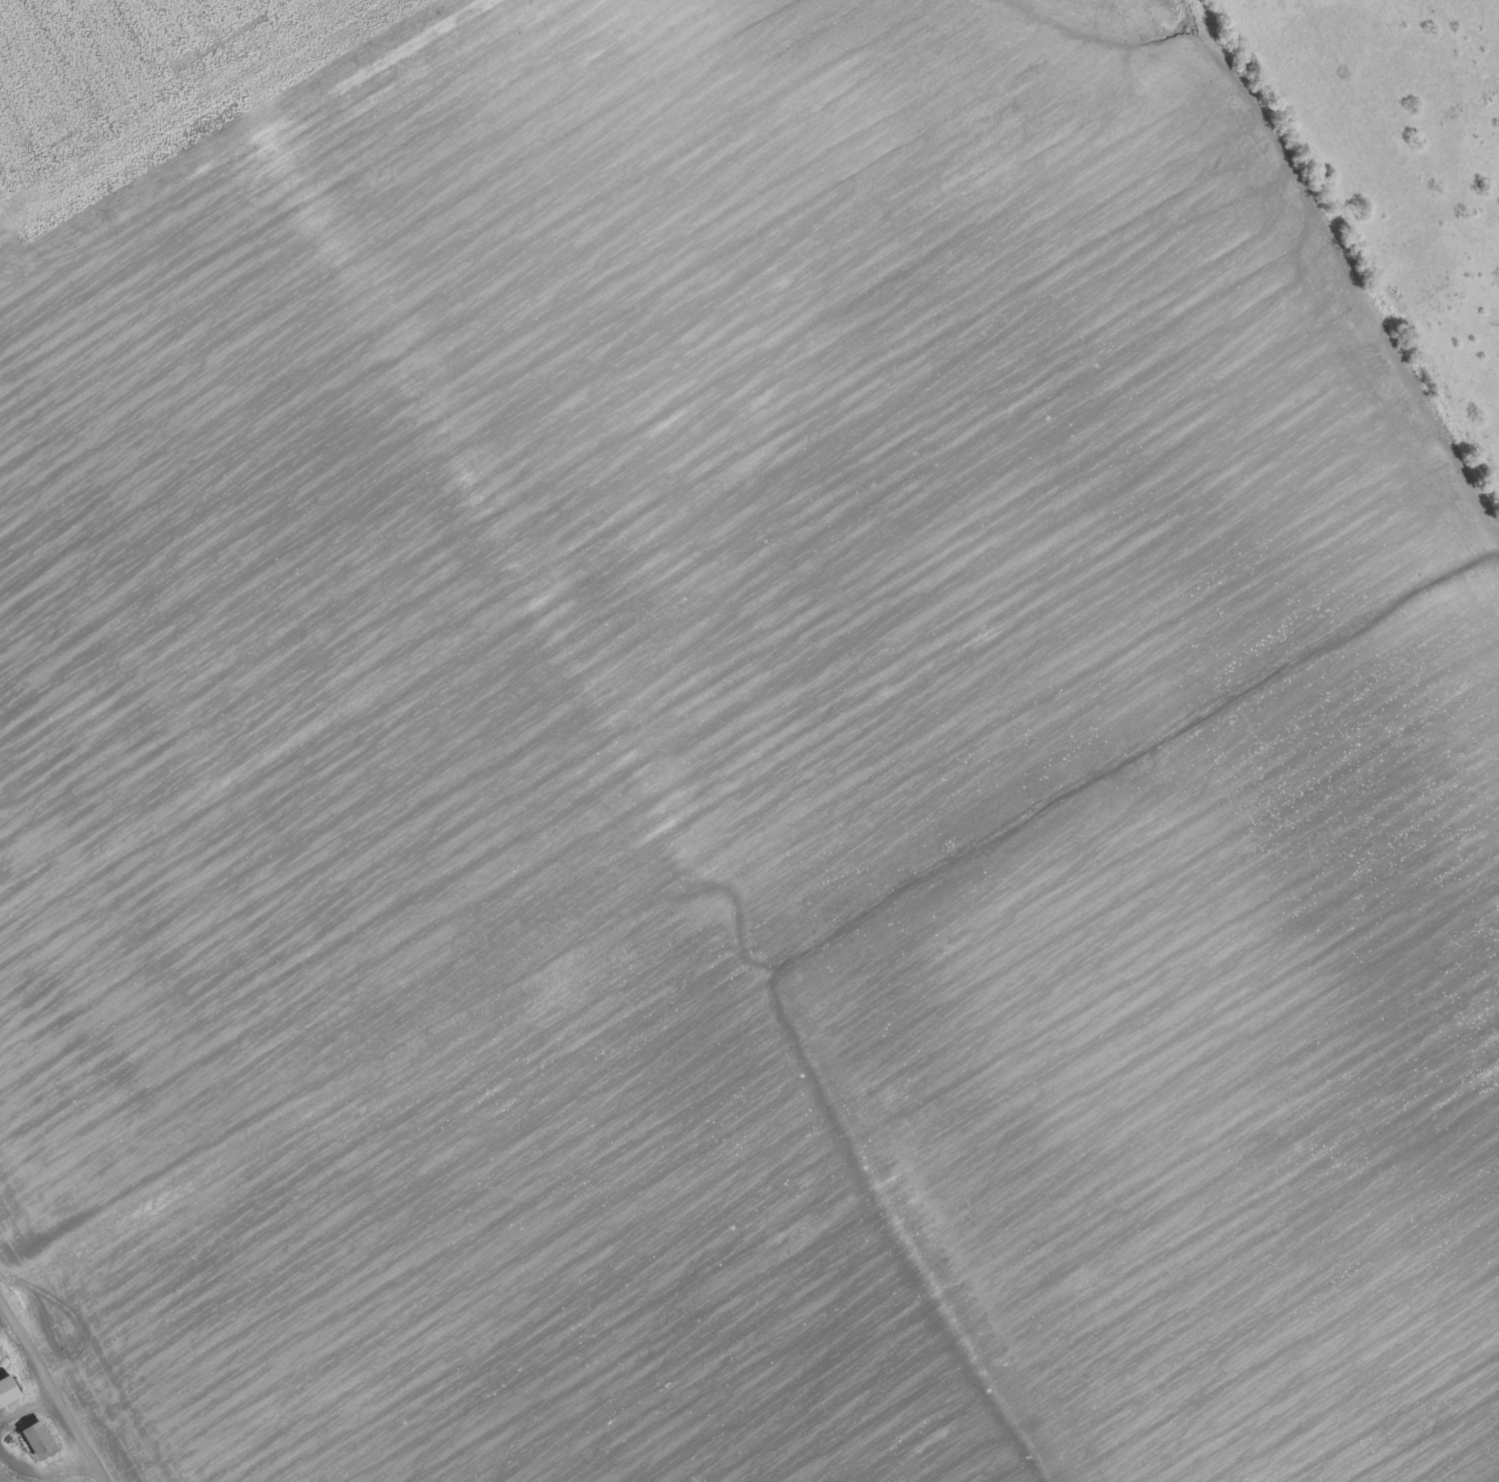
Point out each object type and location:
building: (1, 1356)
road: (56, 1382)
building: (9, 1391)
building: (42, 1441)

